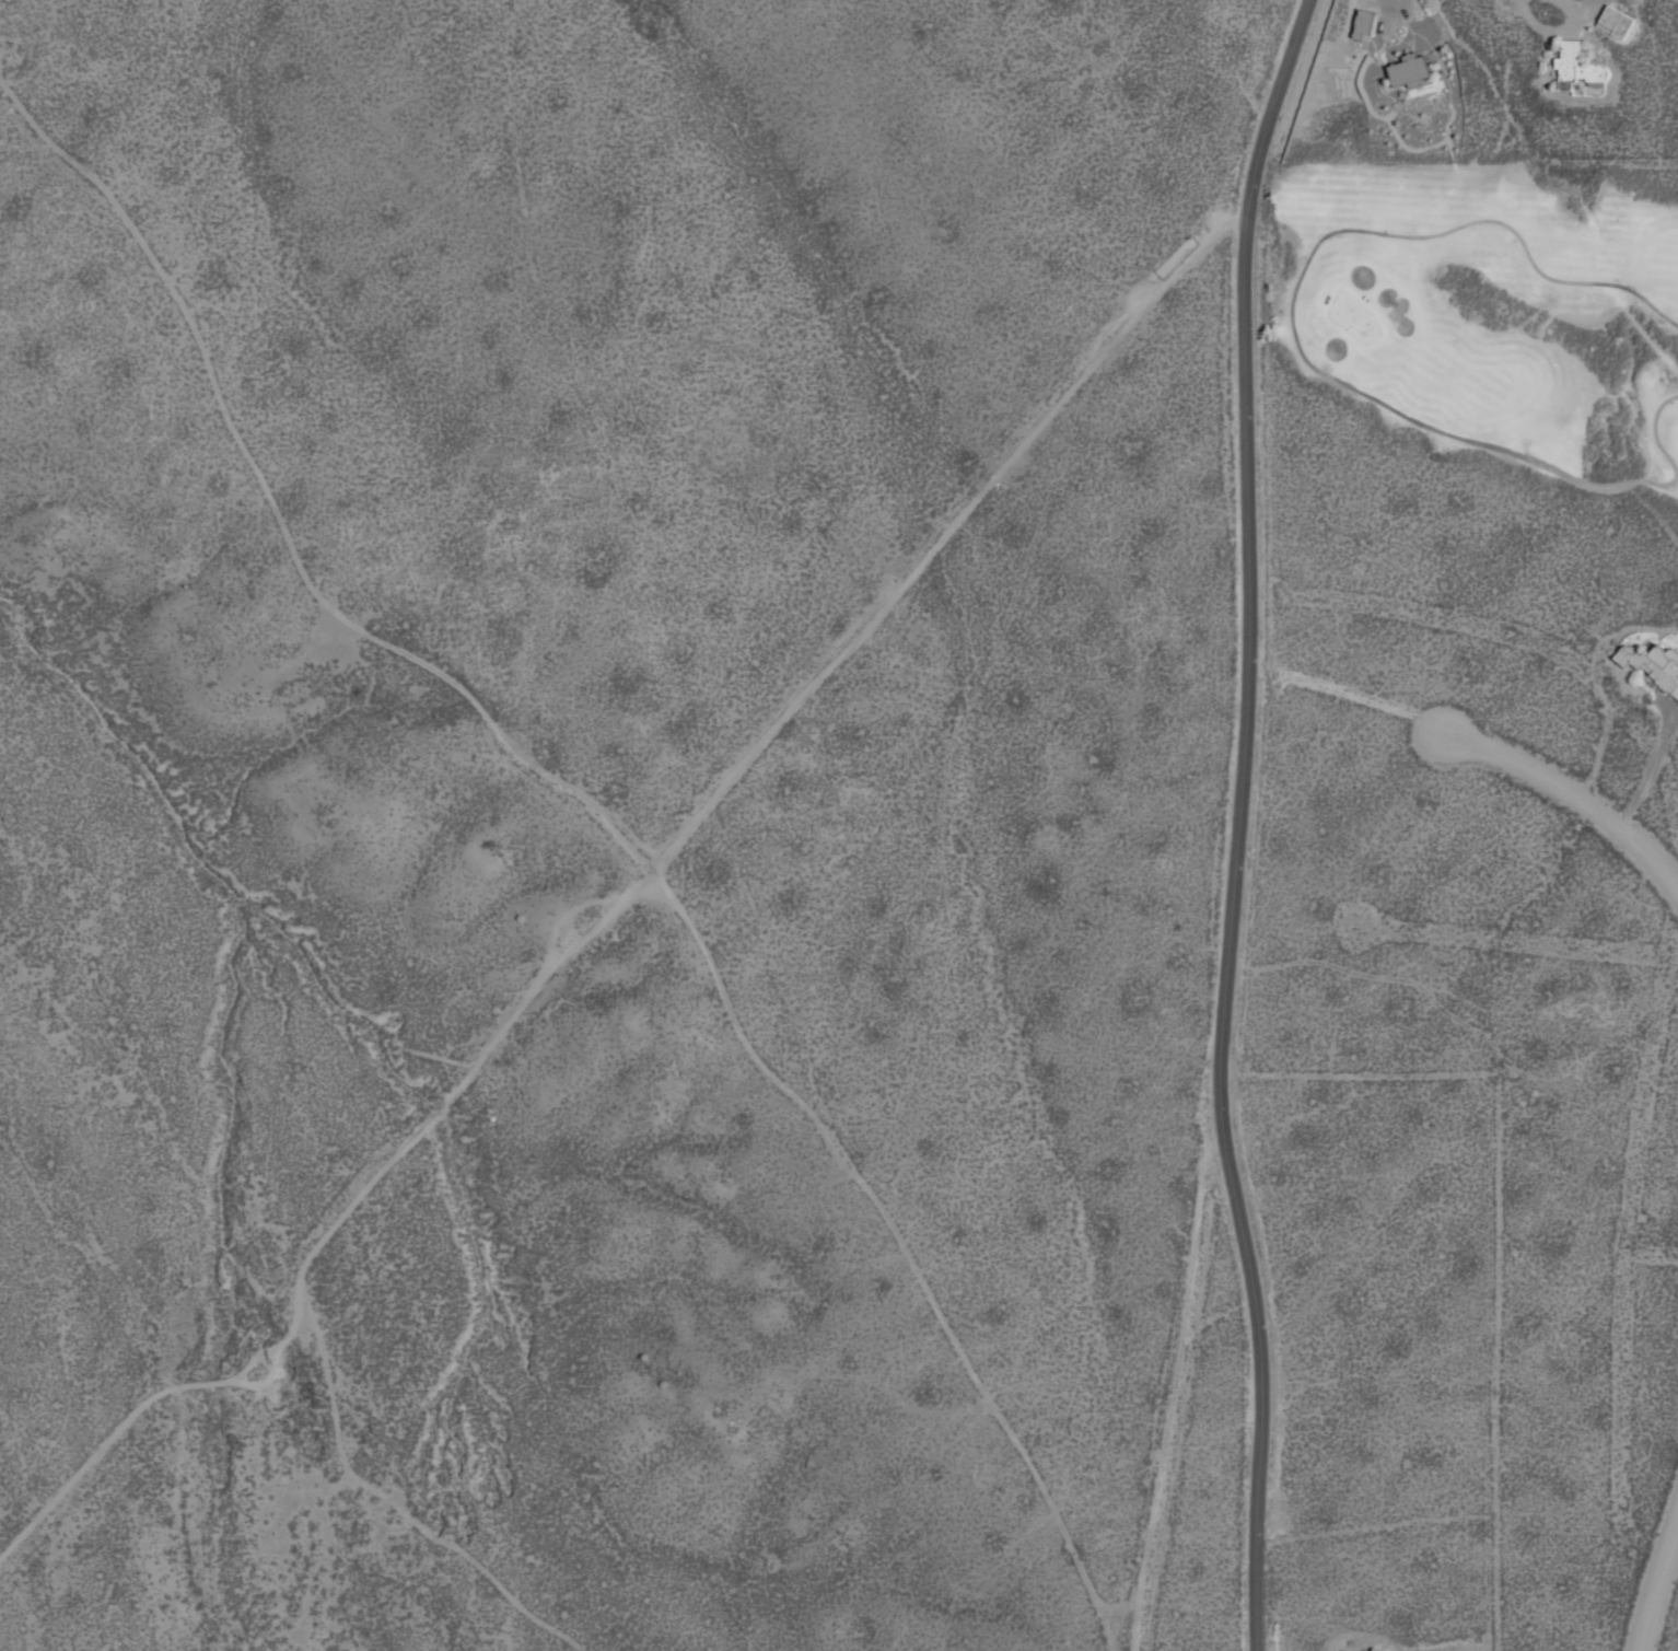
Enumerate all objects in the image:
building: (1361, 24)
building: (1573, 66)
building: (1405, 70)
park: (1492, 314)
building: (1652, 664)
road: (1572, 794)
road: (606, 817)
road: (1236, 823)
road: (1656, 1578)
building: (1372, 1649)
building: (1343, 1650)

